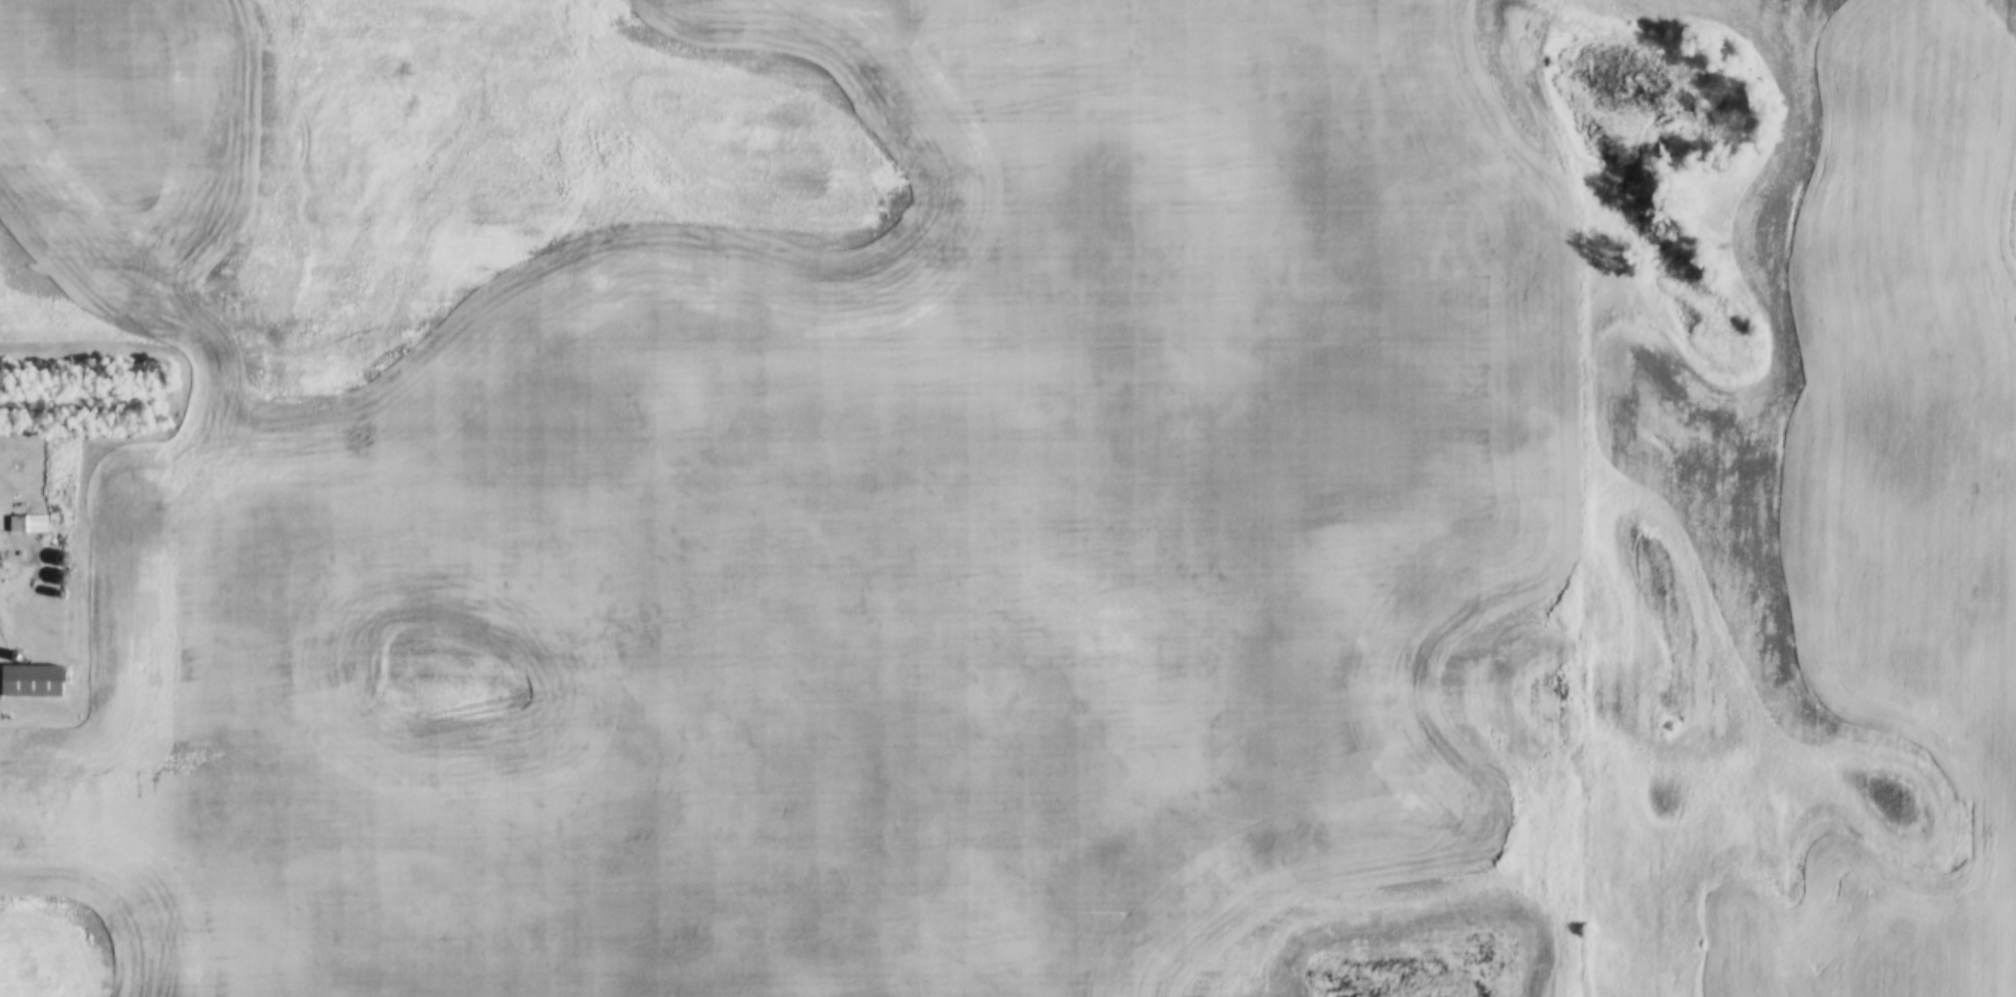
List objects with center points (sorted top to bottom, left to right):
building: (13, 523)
building: (27, 680)

